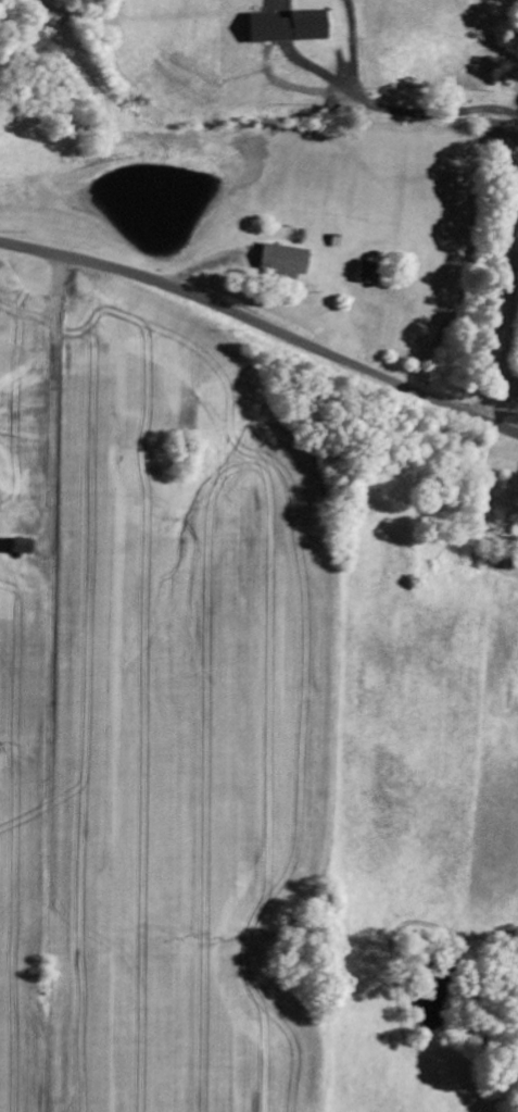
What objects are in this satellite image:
building: (305, 25)
building: (261, 27)
building: (280, 261)
road: (262, 325)
building: (18, 547)

